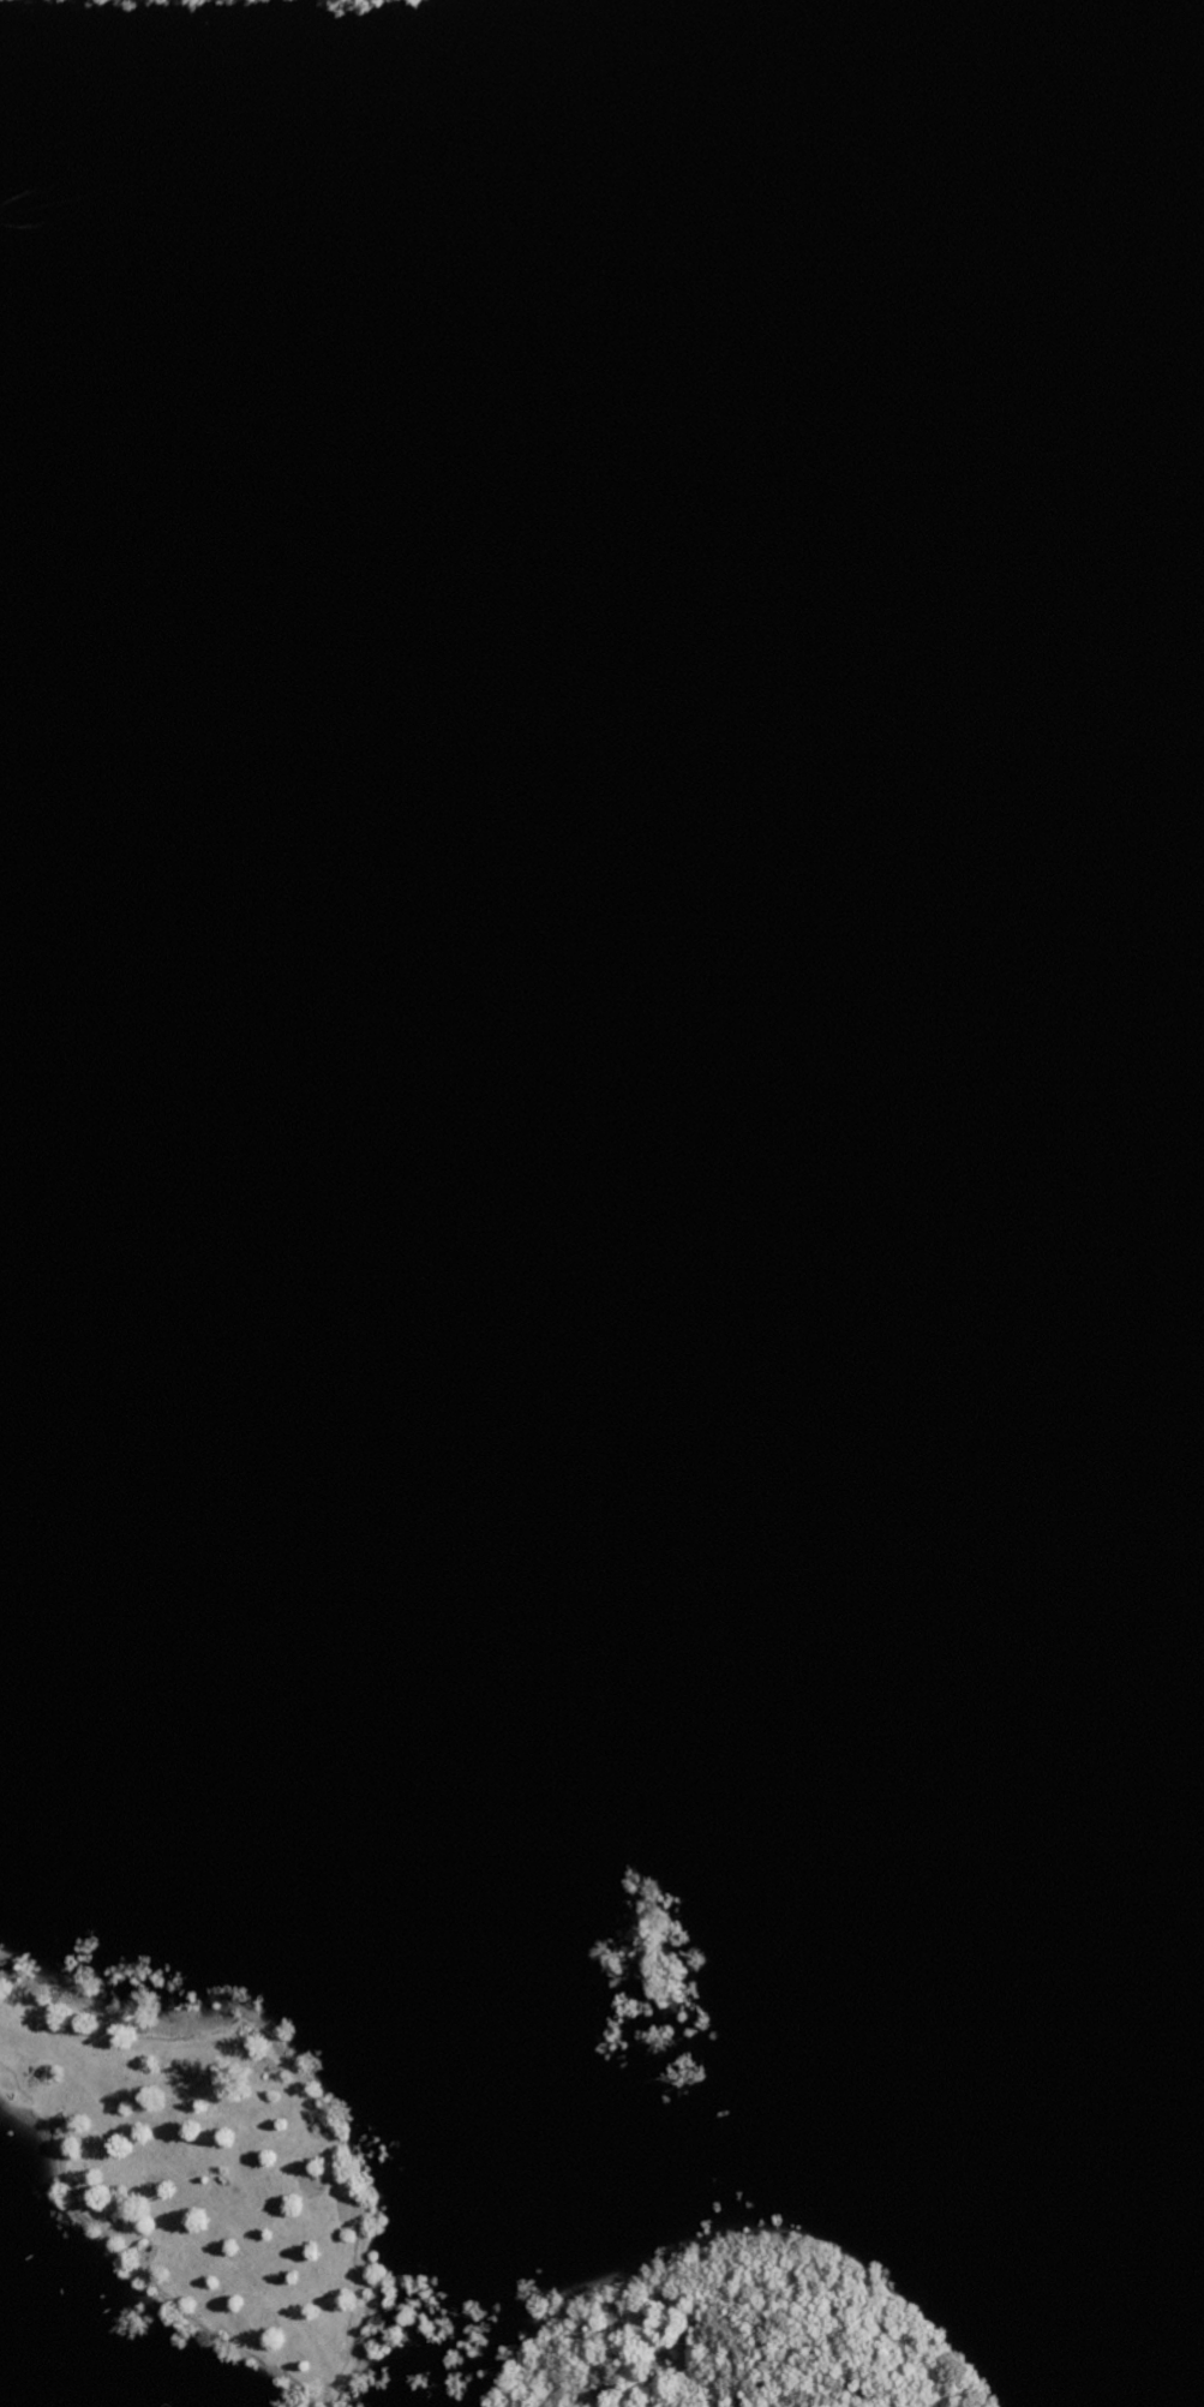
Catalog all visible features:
river: (807, 515)
river: (600, 1041)

